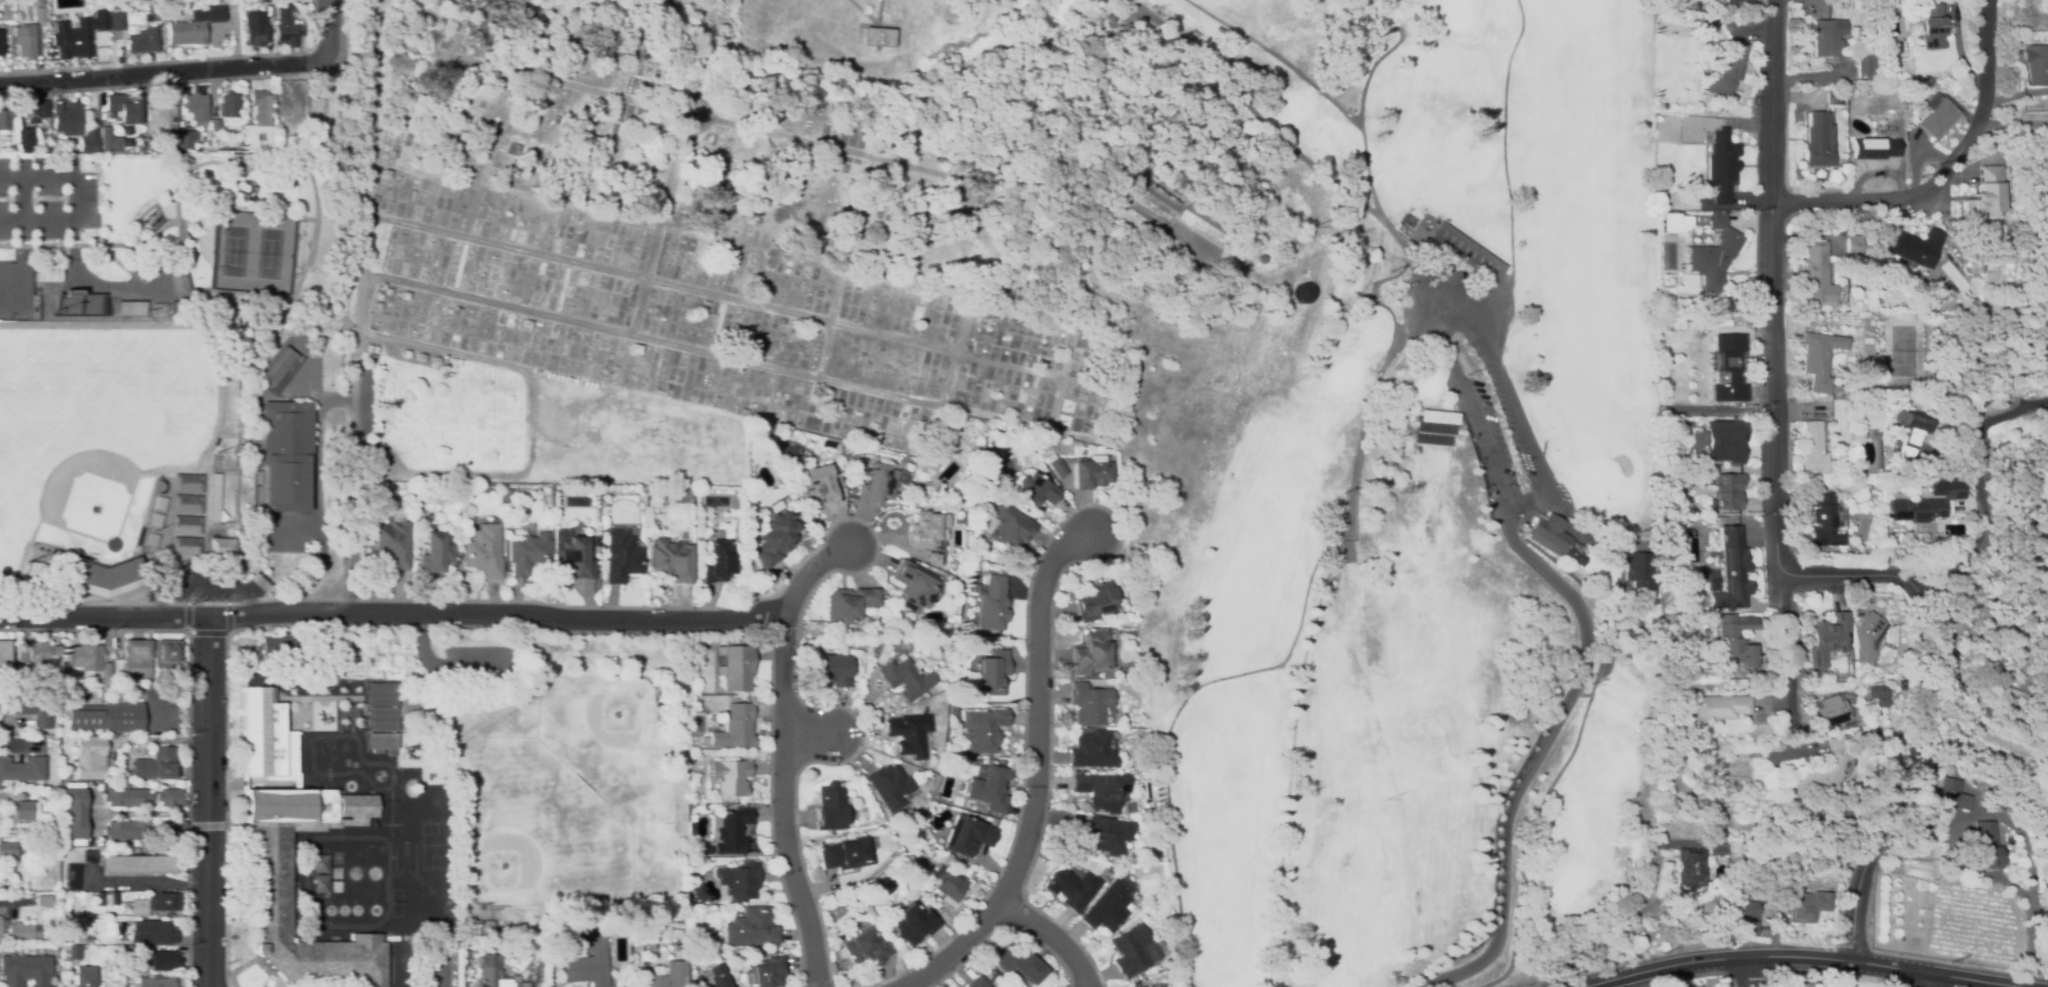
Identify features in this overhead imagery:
building: (666, 4)
building: (1737, 4)
building: (110, 5)
building: (164, 15)
building: (36, 16)
building: (156, 16)
building: (82, 18)
building: (99, 20)
building: (115, 22)
building: (194, 25)
building: (287, 27)
building: (1933, 27)
road: (332, 28)
building: (256, 33)
building: (1854, 35)
building: (879, 37)
building: (1827, 38)
building: (140, 40)
building: (0, 41)
building: (24, 41)
building: (71, 42)
building: (2037, 64)
building: (1866, 65)
building: (1728, 70)
road: (164, 71)
building: (1915, 92)
building: (1835, 97)
building: (229, 105)
building: (125, 107)
building: (197, 108)
building: (34, 110)
building: (290, 110)
road: (1344, 113)
building: (161, 114)
building: (1896, 114)
building: (1937, 115)
building: (65, 118)
building: (4, 120)
building: (257, 121)
road: (743, 122)
road: (2016, 122)
building: (216, 125)
building: (25, 137)
building: (89, 138)
building: (110, 139)
building: (185, 139)
building: (1819, 140)
building: (140, 146)
building: (1874, 147)
building: (115, 151)
building: (394, 152)
building: (711, 162)
building: (1722, 166)
road: (1948, 173)
building: (386, 174)
building: (1661, 196)
building: (1985, 196)
parking lot: (45, 197)
building: (373, 197)
road: (22, 198)
road: (77, 198)
building: (1127, 208)
building: (2011, 219)
building: (670, 220)
building: (1409, 222)
building: (1670, 222)
building: (1693, 222)
park: (743, 232)
building: (1180, 233)
building: (1854, 245)
building: (1915, 247)
building: (1468, 252)
building: (1714, 256)
building: (1246, 259)
park: (185, 262)
building: (151, 267)
building: (48, 270)
building: (1818, 275)
building: (180, 284)
building: (599, 285)
park: (15, 292)
building: (387, 292)
building: (1292, 292)
building: (405, 296)
building: (78, 303)
building: (203, 304)
road: (358, 305)
building: (378, 306)
building: (527, 324)
road: (1469, 327)
building: (368, 348)
building: (635, 349)
building: (375, 350)
building: (757, 353)
building: (405, 354)
building: (421, 358)
building: (1818, 360)
building: (435, 361)
building: (452, 365)
building: (278, 366)
building: (1729, 367)
road: (954, 373)
road: (1503, 380)
building: (668, 387)
building: (658, 391)
building: (785, 402)
building: (1440, 405)
parking lot: (1493, 408)
building: (251, 410)
building: (743, 411)
road: (553, 413)
building: (1870, 419)
building: (1432, 428)
building: (1910, 432)
building: (753, 439)
building: (1723, 441)
park: (93, 448)
building: (1811, 449)
building: (286, 454)
building: (991, 462)
building: (1056, 465)
building: (199, 470)
building: (1092, 472)
building: (188, 483)
road: (1977, 483)
building: (816, 485)
building: (876, 485)
park: (1407, 487)
building: (1036, 491)
building: (1724, 491)
building: (510, 496)
building: (215, 498)
building: (1926, 504)
building: (188, 505)
building: (1820, 517)
building: (977, 520)
building: (187, 525)
building: (1010, 526)
building: (927, 535)
building: (644, 536)
building: (773, 539)
building: (1546, 539)
building: (595, 542)
building: (393, 544)
building: (186, 546)
building: (222, 547)
building: (483, 551)
building: (435, 552)
building: (527, 553)
building: (1687, 555)
road: (1781, 555)
building: (620, 557)
building: (575, 558)
building: (671, 560)
building: (717, 562)
building: (1630, 570)
building: (1724, 571)
building: (104, 573)
building: (37, 574)
road: (811, 574)
building: (912, 586)
building: (1097, 601)
road: (113, 602)
building: (847, 604)
building: (993, 604)
road: (390, 612)
road: (499, 626)
road: (208, 632)
building: (1860, 632)
building: (1818, 638)
road: (1579, 639)
building: (1724, 639)
building: (719, 642)
building: (1665, 642)
building: (352, 646)
building: (277, 647)
building: (867, 649)
building: (40, 652)
building: (1091, 652)
road: (1784, 653)
building: (881, 654)
building: (166, 655)
building: (91, 657)
building: (4, 658)
building: (136, 659)
building: (733, 668)
building: (829, 670)
building: (992, 672)
building: (107, 673)
building: (902, 679)
building: (941, 685)
building: (72, 686)
building: (381, 694)
building: (1873, 695)
building: (2015, 696)
building: (36, 703)
building: (1089, 704)
building: (415, 706)
building: (1707, 707)
building: (914, 708)
building: (952, 709)
building: (1822, 711)
road: (189, 715)
building: (107, 717)
road: (163, 717)
building: (382, 719)
road: (2, 726)
building: (733, 728)
building: (981, 730)
building: (906, 736)
road: (163, 740)
building: (381, 741)
building: (1093, 749)
building: (90, 758)
building: (156, 765)
building: (22, 769)
building: (1811, 771)
road: (1038, 773)
building: (68, 777)
building: (729, 777)
building: (888, 787)
building: (989, 787)
building: (1102, 790)
building: (1958, 794)
building: (21, 795)
building: (127, 797)
building: (2003, 797)
building: (170, 798)
road: (782, 800)
road: (208, 803)
building: (829, 808)
building: (23, 810)
building: (74, 814)
road: (207, 825)
park: (535, 829)
building: (127, 830)
building: (170, 830)
building: (727, 834)
building: (272, 835)
building: (971, 836)
building: (1110, 836)
building: (1989, 846)
building: (1713, 847)
building: (8, 850)
building: (847, 854)
building: (89, 857)
building: (137, 864)
building: (1686, 867)
building: (73, 877)
building: (5, 881)
building: (739, 881)
road: (149, 883)
building: (1792, 884)
building: (1073, 888)
building: (951, 889)
building: (699, 892)
building: (107, 898)
building: (45, 899)
road: (5, 901)
building: (155, 904)
building: (1806, 906)
building: (1109, 907)
building: (1749, 913)
building: (76, 915)
building: (914, 924)
building: (0, 926)
building: (751, 928)
building: (480, 929)
building: (23, 932)
building: (152, 933)
road: (1052, 937)
building: (701, 939)
building: (84, 940)
building: (406, 940)
building: (865, 948)
building: (19, 950)
building: (1133, 951)
building: (75, 953)
road: (1804, 955)
building: (134, 956)
building: (162, 960)
building: (589, 963)
building: (1018, 963)
building: (25, 970)
building: (992, 971)
road: (1746, 971)
building: (495, 973)
building: (769, 973)
building: (987, 975)
building: (671, 976)
building: (85, 977)
building: (997, 977)
building: (713, 978)
road: (1921, 979)
building: (152, 982)
building: (978, 982)
building: (732, 983)
building: (1801, 985)
building: (1155, 986)

